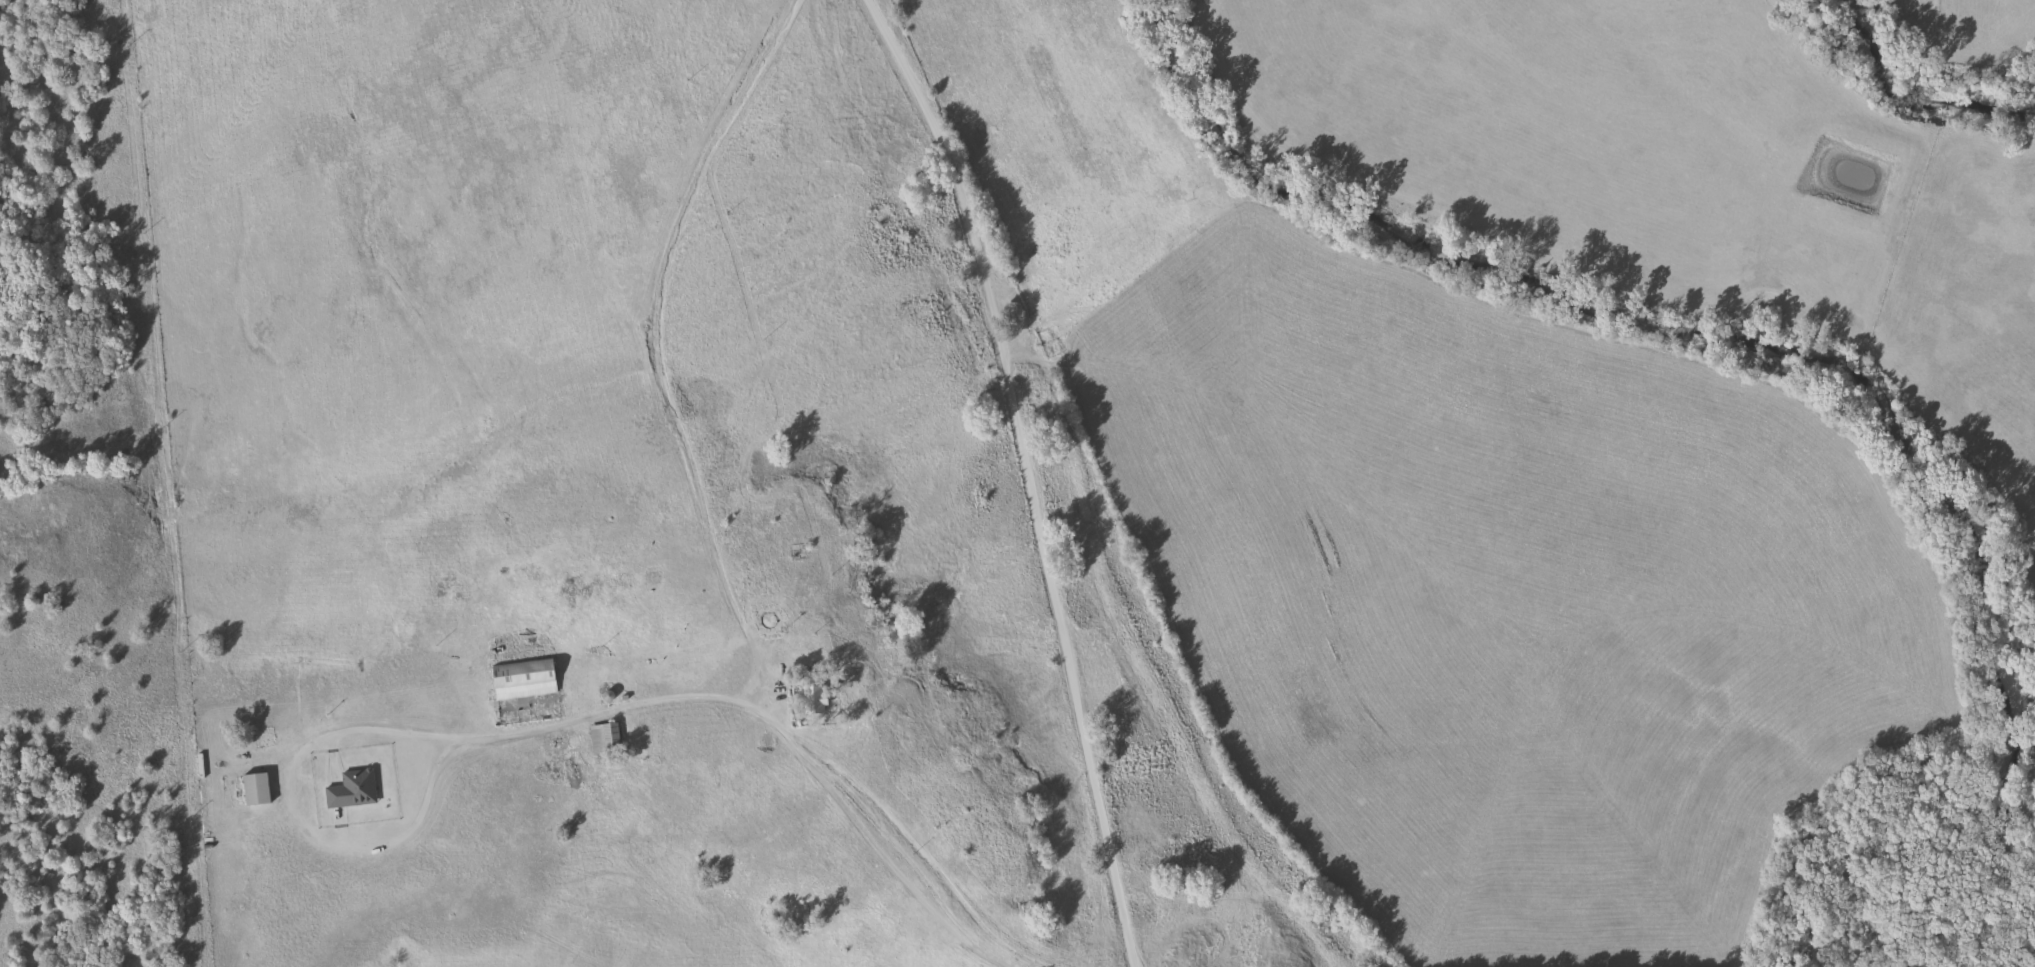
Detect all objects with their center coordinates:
road: (1026, 474)
road: (704, 527)
building: (520, 682)
building: (810, 700)
road: (374, 734)
building: (602, 740)
building: (251, 790)
building: (349, 791)

